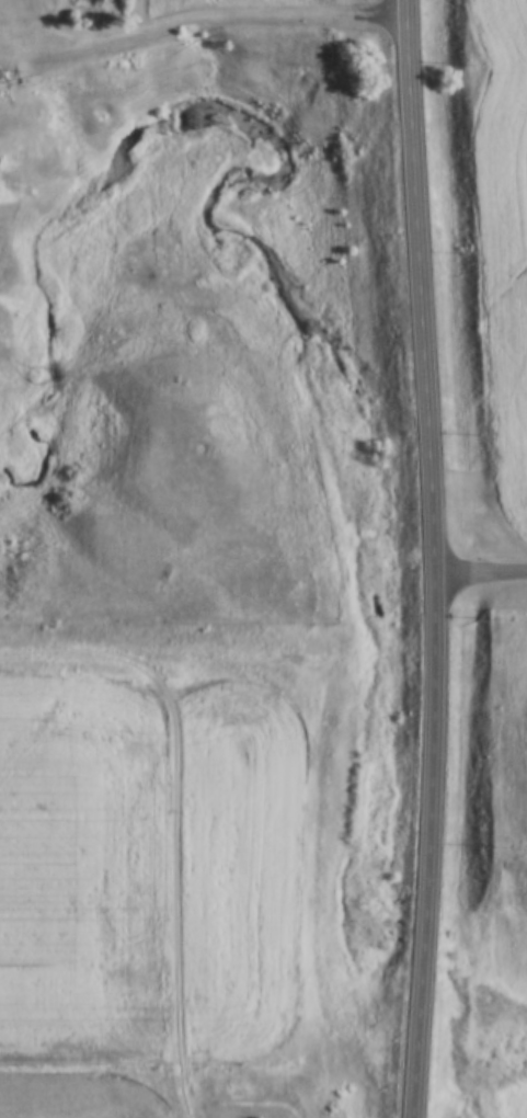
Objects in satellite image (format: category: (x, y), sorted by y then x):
building: (93, 4)
road: (205, 14)
road: (431, 558)
road: (479, 568)
road: (177, 814)

